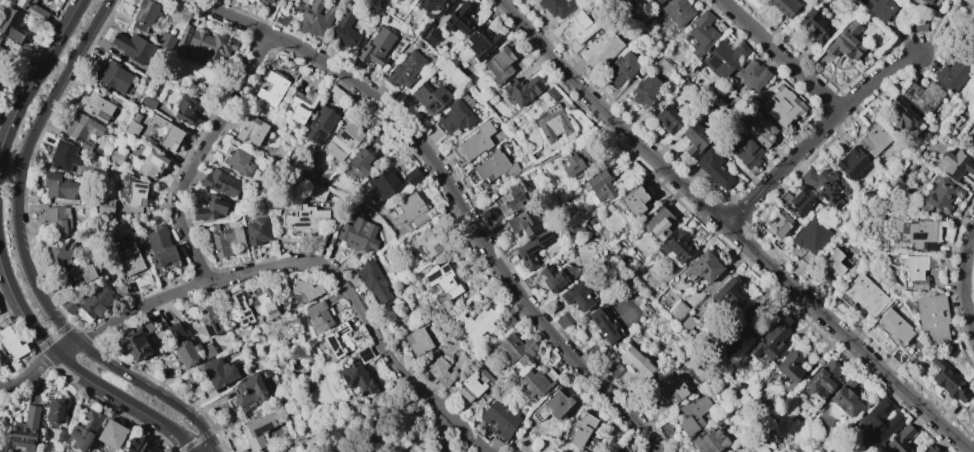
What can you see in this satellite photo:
building: (43, 0)
building: (280, 0)
building: (264, 1)
building: (659, 1)
building: (926, 1)
building: (966, 4)
building: (432, 6)
building: (557, 6)
building: (785, 6)
building: (879, 8)
building: (31, 9)
building: (677, 11)
building: (144, 14)
building: (282, 17)
building: (316, 17)
building: (459, 18)
building: (814, 24)
building: (11, 25)
road: (247, 25)
building: (919, 25)
building: (580, 26)
building: (424, 28)
building: (344, 29)
building: (701, 32)
building: (432, 36)
building: (0, 38)
building: (165, 40)
building: (481, 42)
building: (845, 42)
building: (204, 43)
building: (375, 46)
building: (133, 47)
building: (599, 48)
building: (1, 51)
building: (724, 57)
road: (780, 57)
building: (499, 65)
building: (621, 68)
building: (403, 70)
building: (953, 74)
building: (752, 75)
building: (114, 76)
building: (0, 81)
road: (37, 81)
building: (271, 88)
building: (521, 89)
building: (645, 89)
building: (552, 93)
building: (334, 94)
building: (923, 96)
building: (431, 97)
building: (149, 101)
building: (302, 105)
building: (781, 105)
building: (95, 106)
building: (185, 109)
building: (901, 113)
building: (457, 114)
building: (866, 115)
building: (669, 117)
road: (220, 119)
building: (320, 123)
building: (553, 123)
building: (132, 124)
building: (370, 125)
building: (757, 126)
building: (82, 129)
building: (251, 130)
building: (167, 134)
road: (819, 135)
building: (379, 136)
building: (844, 137)
building: (694, 138)
building: (874, 139)
building: (344, 140)
building: (473, 142)
building: (745, 151)
building: (63, 156)
road: (550, 156)
building: (115, 157)
building: (151, 162)
building: (239, 162)
building: (360, 162)
building: (852, 162)
building: (953, 164)
building: (573, 165)
building: (493, 166)
building: (713, 168)
building: (413, 176)
building: (219, 182)
building: (383, 184)
building: (826, 185)
building: (58, 186)
building: (598, 187)
building: (317, 191)
building: (136, 193)
building: (941, 195)
building: (510, 198)
building: (635, 199)
building: (801, 199)
building: (103, 207)
building: (211, 208)
building: (411, 210)
building: (304, 218)
building: (55, 220)
building: (523, 222)
building: (658, 223)
building: (779, 223)
building: (577, 228)
building: (257, 230)
road: (731, 230)
building: (358, 235)
building: (921, 235)
building: (225, 239)
building: (810, 240)
building: (426, 243)
road: (190, 245)
building: (160, 246)
building: (676, 246)
road: (485, 247)
building: (532, 249)
building: (459, 250)
building: (60, 251)
road: (23, 257)
building: (129, 259)
building: (836, 263)
building: (703, 267)
building: (916, 270)
building: (82, 271)
road: (238, 275)
building: (557, 275)
road: (962, 278)
building: (441, 279)
road: (342, 280)
building: (373, 281)
building: (281, 287)
building: (305, 289)
building: (728, 292)
building: (865, 294)
building: (579, 295)
road: (156, 299)
building: (97, 301)
building: (264, 302)
building: (68, 306)
building: (238, 310)
building: (678, 311)
building: (318, 315)
building: (932, 317)
building: (563, 319)
building: (209, 320)
building: (506, 320)
building: (475, 323)
building: (687, 323)
building: (746, 324)
building: (604, 325)
building: (175, 331)
building: (893, 331)
road: (94, 335)
building: (337, 340)
building: (419, 340)
building: (135, 341)
building: (769, 341)
building: (11, 344)
road: (68, 348)
building: (517, 350)
building: (188, 352)
building: (363, 353)
building: (634, 359)
road: (75, 366)
building: (790, 366)
building: (439, 369)
building: (613, 369)
building: (218, 372)
road: (30, 373)
building: (355, 378)
building: (821, 379)
building: (536, 381)
building: (949, 381)
building: (475, 384)
building: (675, 388)
building: (249, 389)
building: (846, 398)
road: (434, 401)
building: (552, 406)
building: (55, 410)
building: (693, 413)
building: (500, 418)
building: (875, 424)
building: (25, 429)
building: (257, 430)
building: (82, 431)
building: (583, 432)
building: (111, 434)
building: (61, 436)
building: (899, 440)
building: (709, 441)
road: (204, 443)
building: (139, 446)
building: (622, 449)
building: (929, 449)
building: (276, 451)
building: (277, 451)

